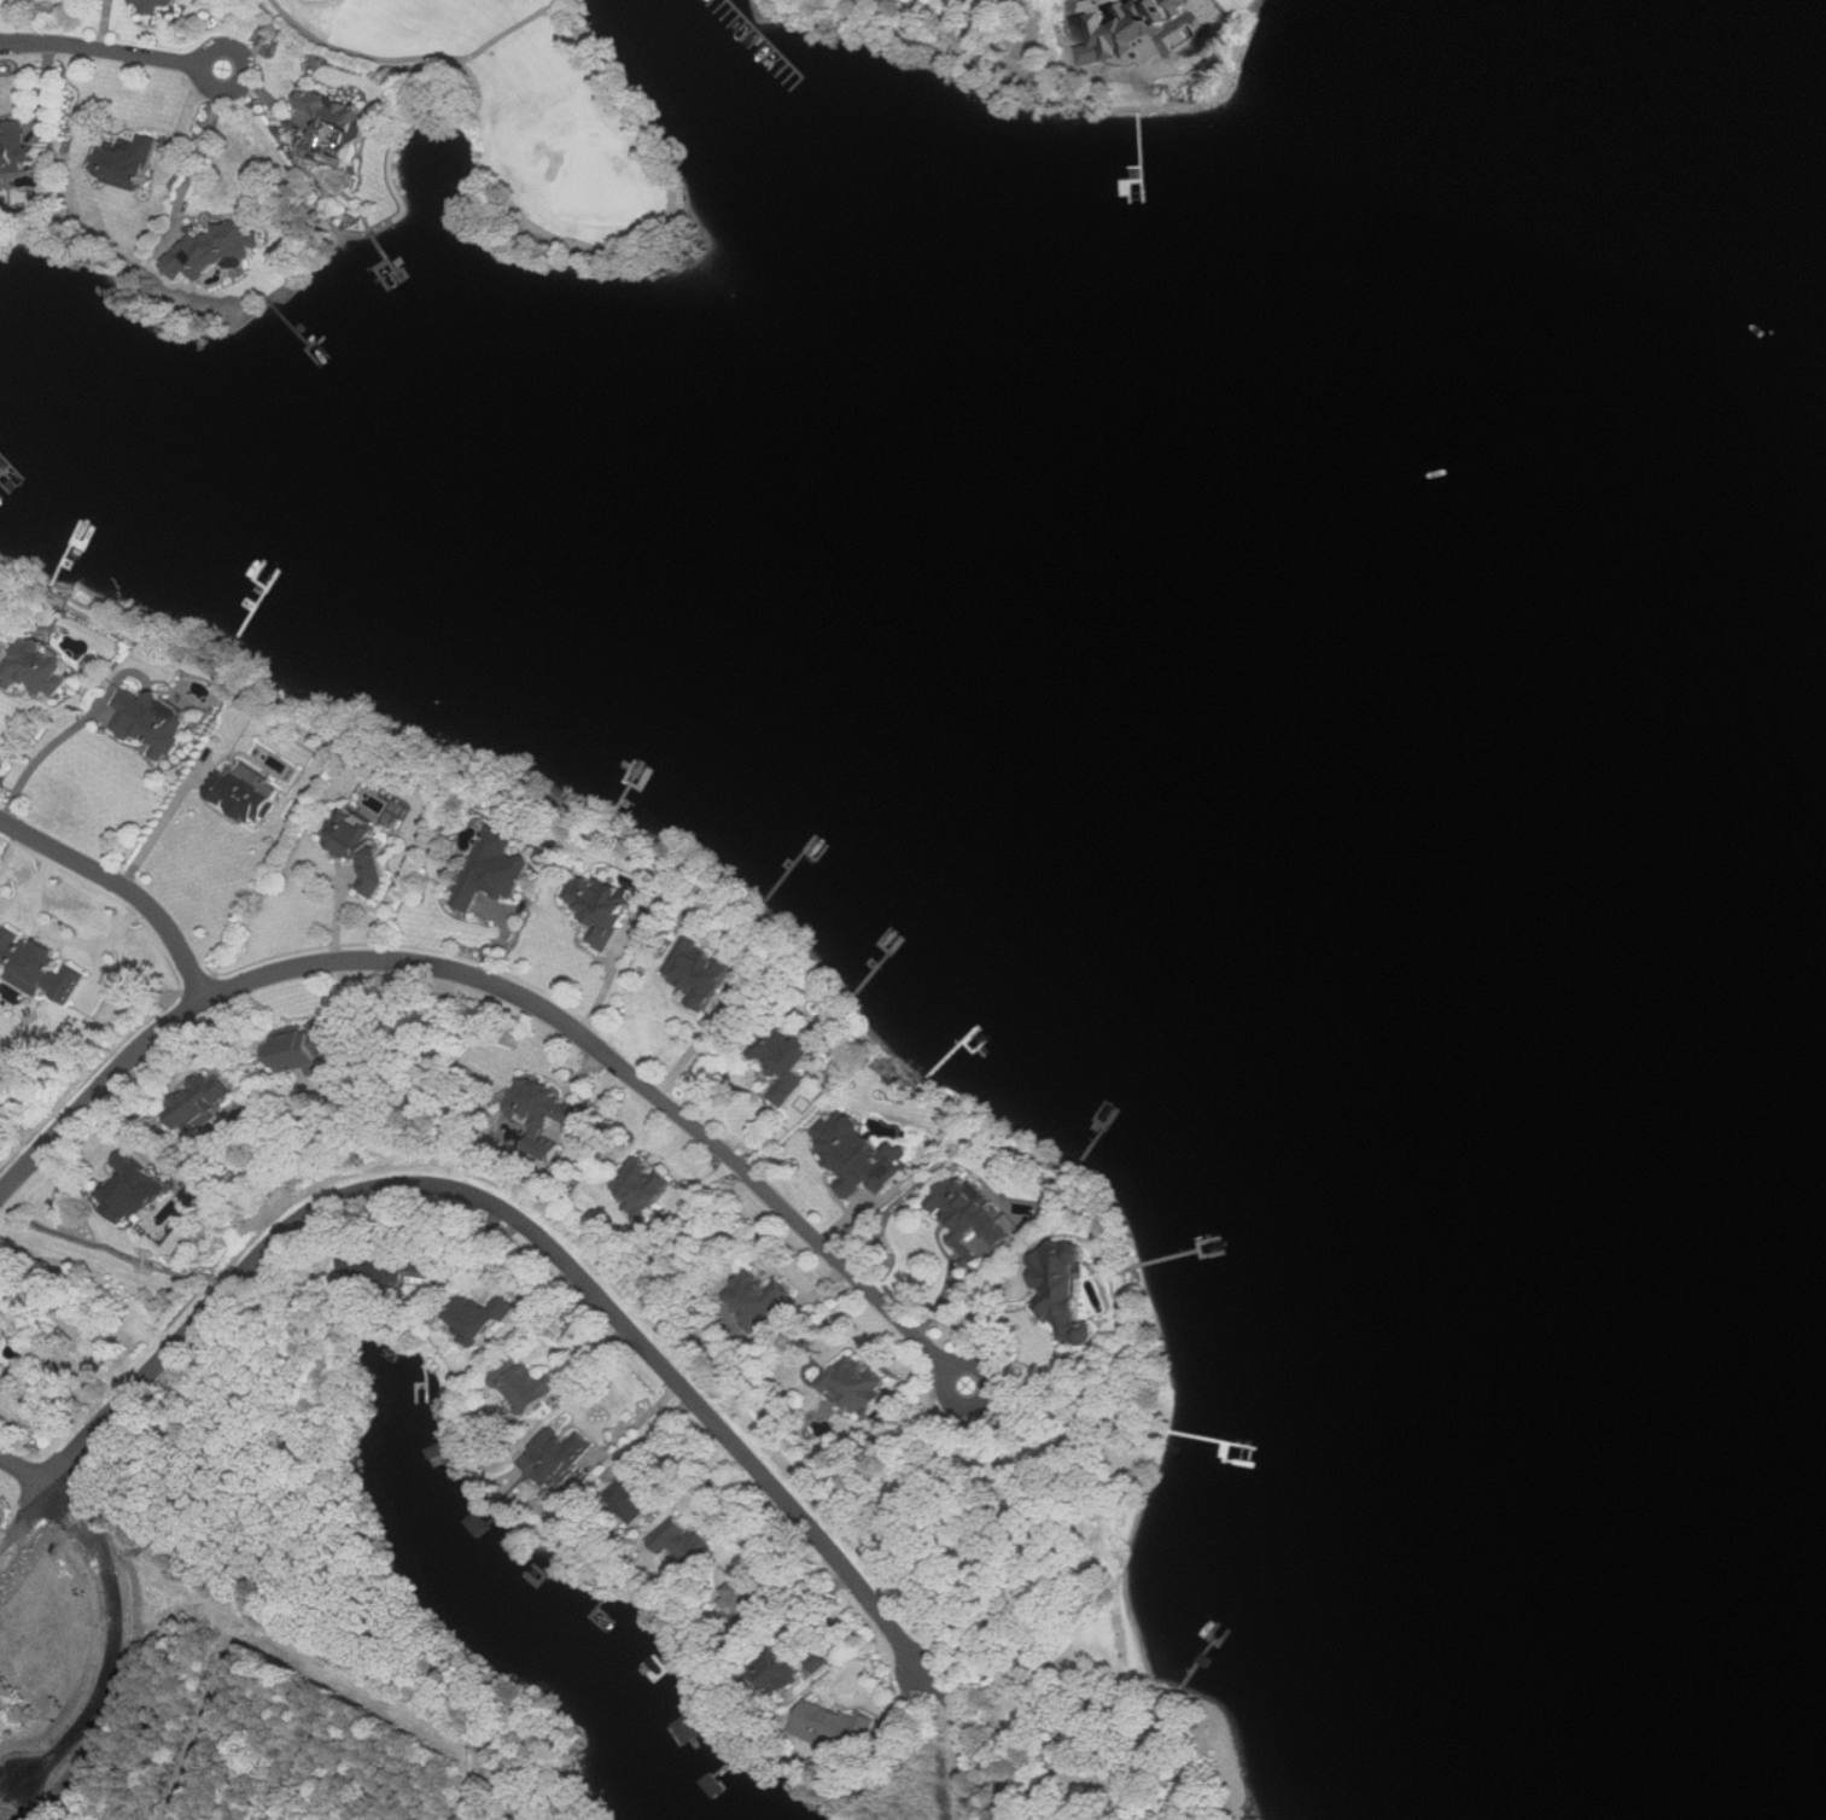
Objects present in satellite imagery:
building: (158, 4)
road: (581, 34)
pier: (769, 39)
road: (101, 47)
road: (416, 59)
road: (203, 64)
building: (336, 124)
park: (536, 129)
building: (18, 148)
building: (130, 158)
road: (199, 159)
building: (217, 249)
building: (33, 670)
building: (150, 723)
road: (43, 753)
building: (249, 791)
road: (162, 827)
building: (364, 846)
building: (500, 869)
road: (124, 883)
building: (601, 906)
building: (40, 966)
building: (701, 973)
road: (609, 982)
road: (504, 985)
road: (694, 1048)
building: (301, 1049)
building: (788, 1060)
building: (203, 1104)
building: (542, 1106)
building: (864, 1154)
building: (132, 1189)
building: (641, 1190)
road: (520, 1218)
building: (969, 1219)
building: (384, 1266)
road: (509, 1285)
building: (1064, 1288)
building: (758, 1297)
road: (978, 1308)
building: (480, 1316)
road: (956, 1367)
building: (526, 1386)
building: (861, 1387)
building: (562, 1451)
building: (441, 1456)
building: (635, 1498)
road: (23, 1516)
building: (683, 1547)
building: (566, 1554)
building: (749, 1594)
road: (116, 1611)
building: (1208, 1661)
road: (904, 1699)
building: (835, 1727)
building: (688, 1728)
road: (974, 1740)
building: (1132, 1762)
road: (23, 1802)

